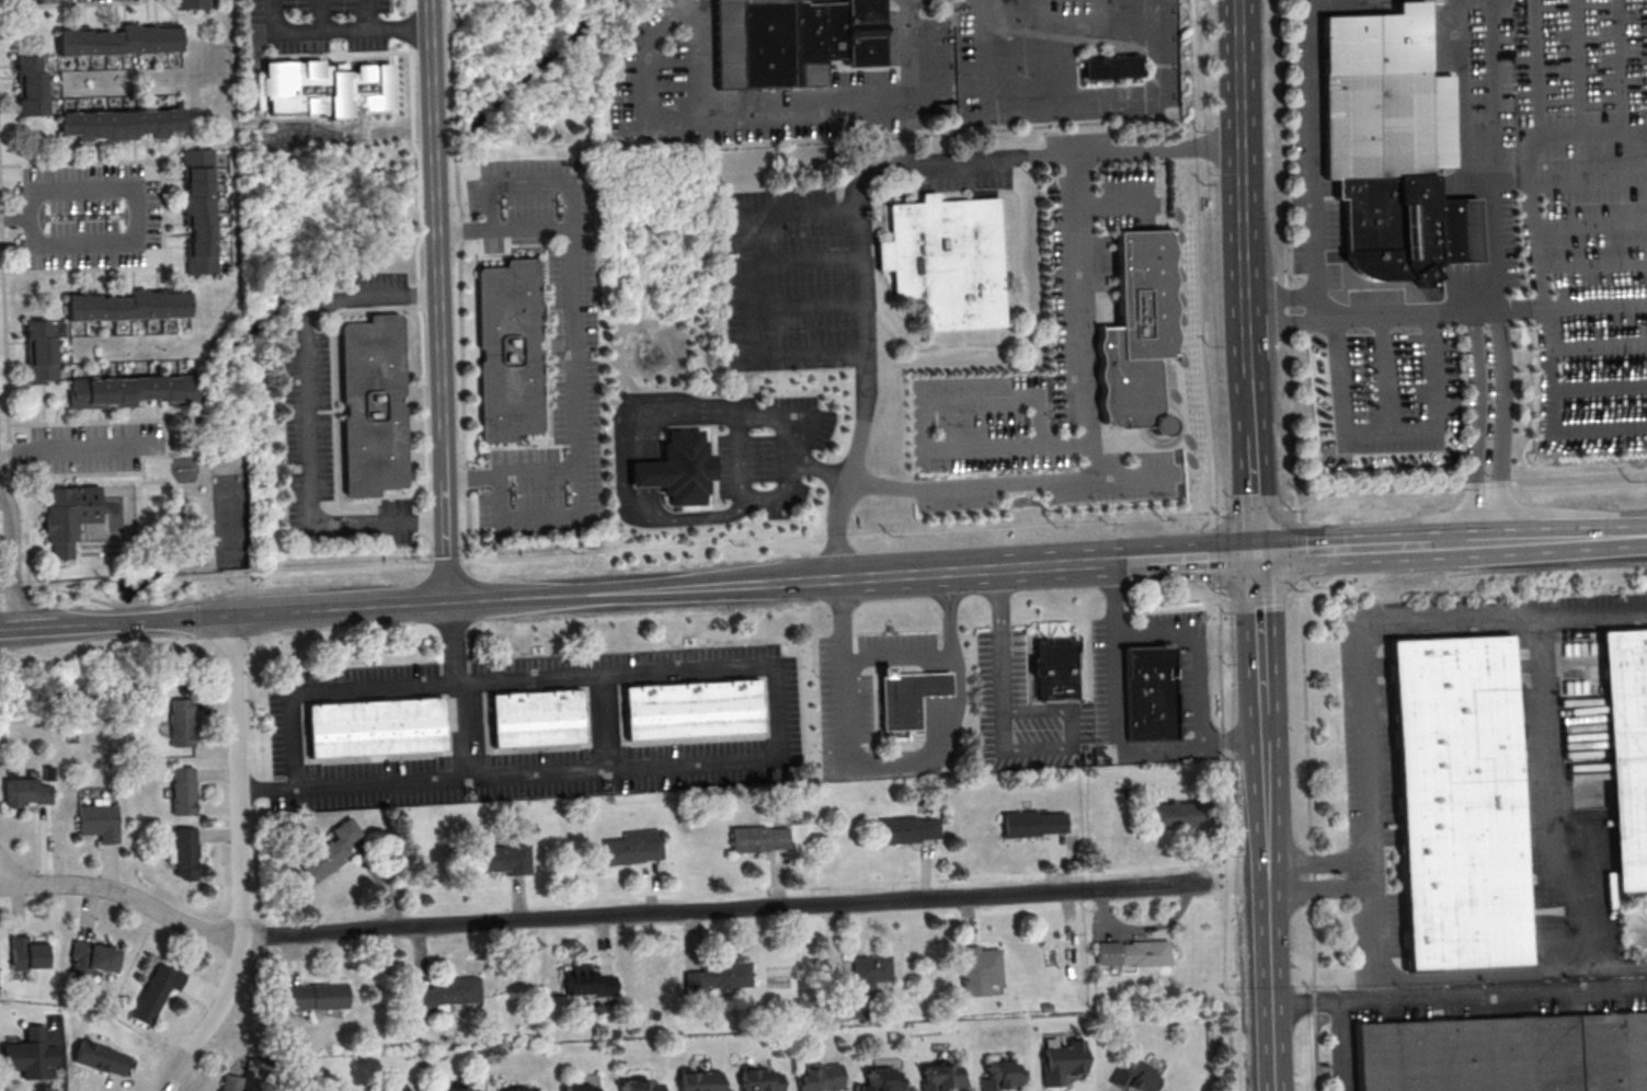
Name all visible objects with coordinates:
road: (72, 4)
building: (191, 4)
road: (367, 14)
road: (333, 30)
building: (792, 39)
building: (117, 42)
road: (1579, 67)
road: (1621, 67)
building: (1112, 69)
building: (324, 87)
building: (28, 88)
road: (1087, 101)
road: (763, 114)
building: (119, 124)
road: (1591, 134)
building: (1389, 143)
road: (1536, 153)
road: (1315, 156)
road: (1498, 156)
road: (1040, 157)
road: (1569, 177)
road: (528, 181)
road: (1247, 193)
road: (859, 208)
building: (197, 210)
road: (140, 213)
road: (161, 214)
road: (14, 219)
road: (1592, 223)
road: (1202, 256)
road: (1291, 261)
building: (946, 262)
road: (1593, 264)
road: (437, 300)
road: (1594, 305)
building: (127, 307)
road: (1400, 313)
road: (1285, 318)
building: (1140, 332)
road: (1594, 342)
building: (506, 352)
road: (572, 353)
building: (37, 354)
road: (1383, 374)
road: (1597, 389)
building: (133, 390)
road: (1545, 390)
road: (5, 405)
building: (370, 406)
road: (1251, 412)
road: (309, 417)
road: (816, 422)
road: (922, 422)
road: (735, 423)
road: (1473, 423)
road: (1497, 423)
road: (1388, 432)
road: (1089, 437)
road: (77, 448)
road: (619, 469)
building: (673, 470)
road: (1462, 484)
road: (1254, 494)
road: (1253, 508)
road: (1217, 513)
building: (68, 515)
road: (538, 517)
road: (1568, 536)
road: (1457, 540)
road: (1394, 544)
road: (1301, 549)
road: (1308, 549)
road: (657, 552)
traffic signals: (1256, 553)
road: (1202, 556)
road: (13, 560)
road: (1096, 562)
road: (954, 571)
road: (1331, 577)
road: (794, 581)
road: (56, 589)
road: (655, 589)
road: (1258, 595)
road: (1225, 598)
road: (378, 606)
road: (114, 622)
road: (28, 627)
road: (1258, 630)
road: (449, 641)
road: (1191, 651)
road: (896, 657)
road: (998, 661)
building: (1054, 668)
building: (1148, 691)
building: (907, 696)
building: (691, 710)
building: (535, 717)
road: (605, 720)
building: (181, 722)
parking lot: (534, 725)
road: (1114, 727)
building: (374, 728)
road: (470, 728)
road: (1070, 731)
building: (1627, 755)
road: (779, 758)
road: (889, 765)
road: (265, 789)
building: (182, 790)
building: (23, 793)
road: (1370, 796)
road: (1549, 797)
building: (1456, 805)
building: (1176, 814)
building: (96, 823)
building: (1033, 823)
building: (910, 829)
road: (1309, 834)
building: (759, 838)
building: (634, 847)
building: (330, 849)
building: (183, 852)
building: (501, 859)
road: (242, 864)
road: (1371, 871)
road: (122, 893)
road: (1267, 899)
road: (727, 909)
building: (1132, 952)
building: (25, 955)
building: (90, 960)
building: (870, 968)
building: (980, 969)
building: (714, 977)
building: (587, 981)
building: (152, 992)
building: (442, 992)
building: (312, 996)
road: (1459, 996)
building: (849, 1006)
road: (1341, 1046)
building: (27, 1054)
building: (1506, 1055)
building: (99, 1057)
building: (1063, 1060)
building: (1000, 1077)
building: (1136, 1077)
building: (819, 1078)
building: (758, 1079)
building: (940, 1079)
building: (880, 1080)
building: (230, 1082)
building: (697, 1082)
building: (639, 1087)
building: (396, 1088)
building: (458, 1089)
building: (515, 1089)
building: (575, 1089)

